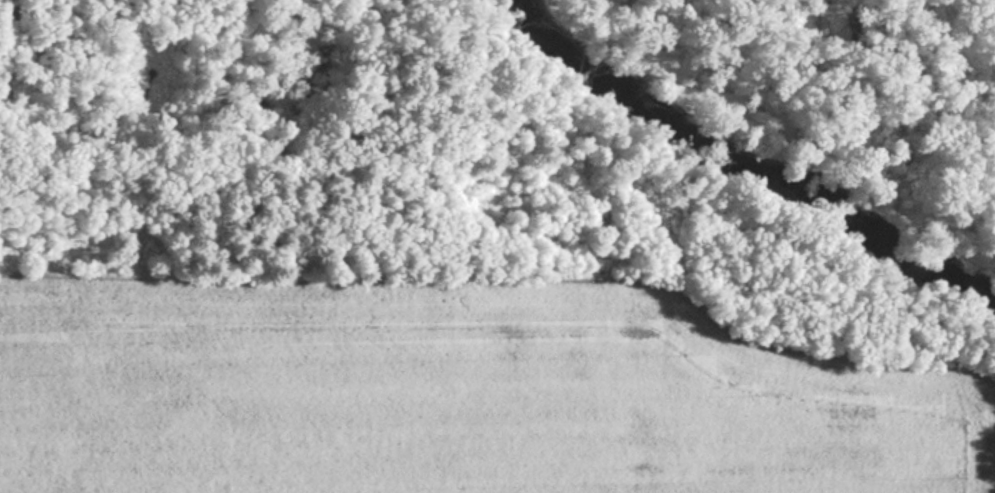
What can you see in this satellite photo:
river: (751, 161)

